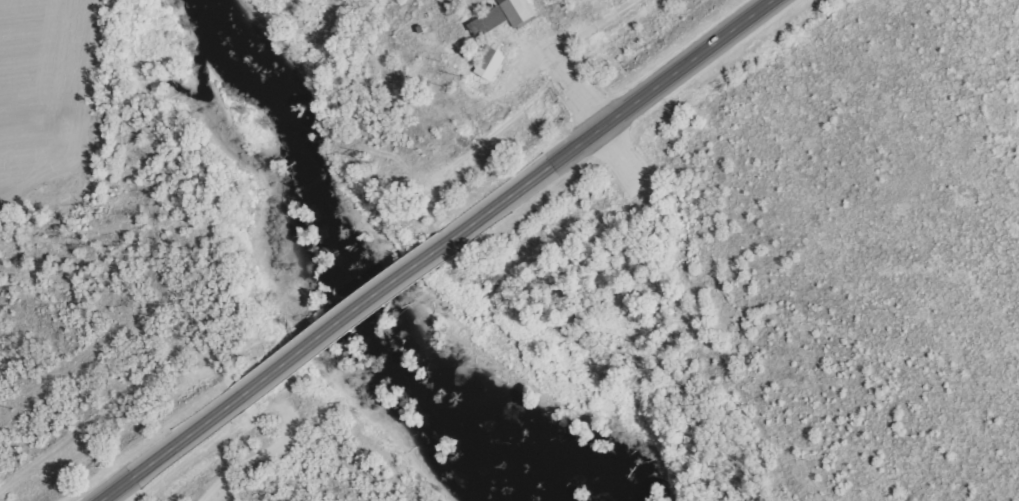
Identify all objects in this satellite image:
building: (502, 16)
building: (490, 59)
road: (621, 127)
road: (47, 228)
river: (346, 267)
road: (340, 338)
road: (176, 461)

